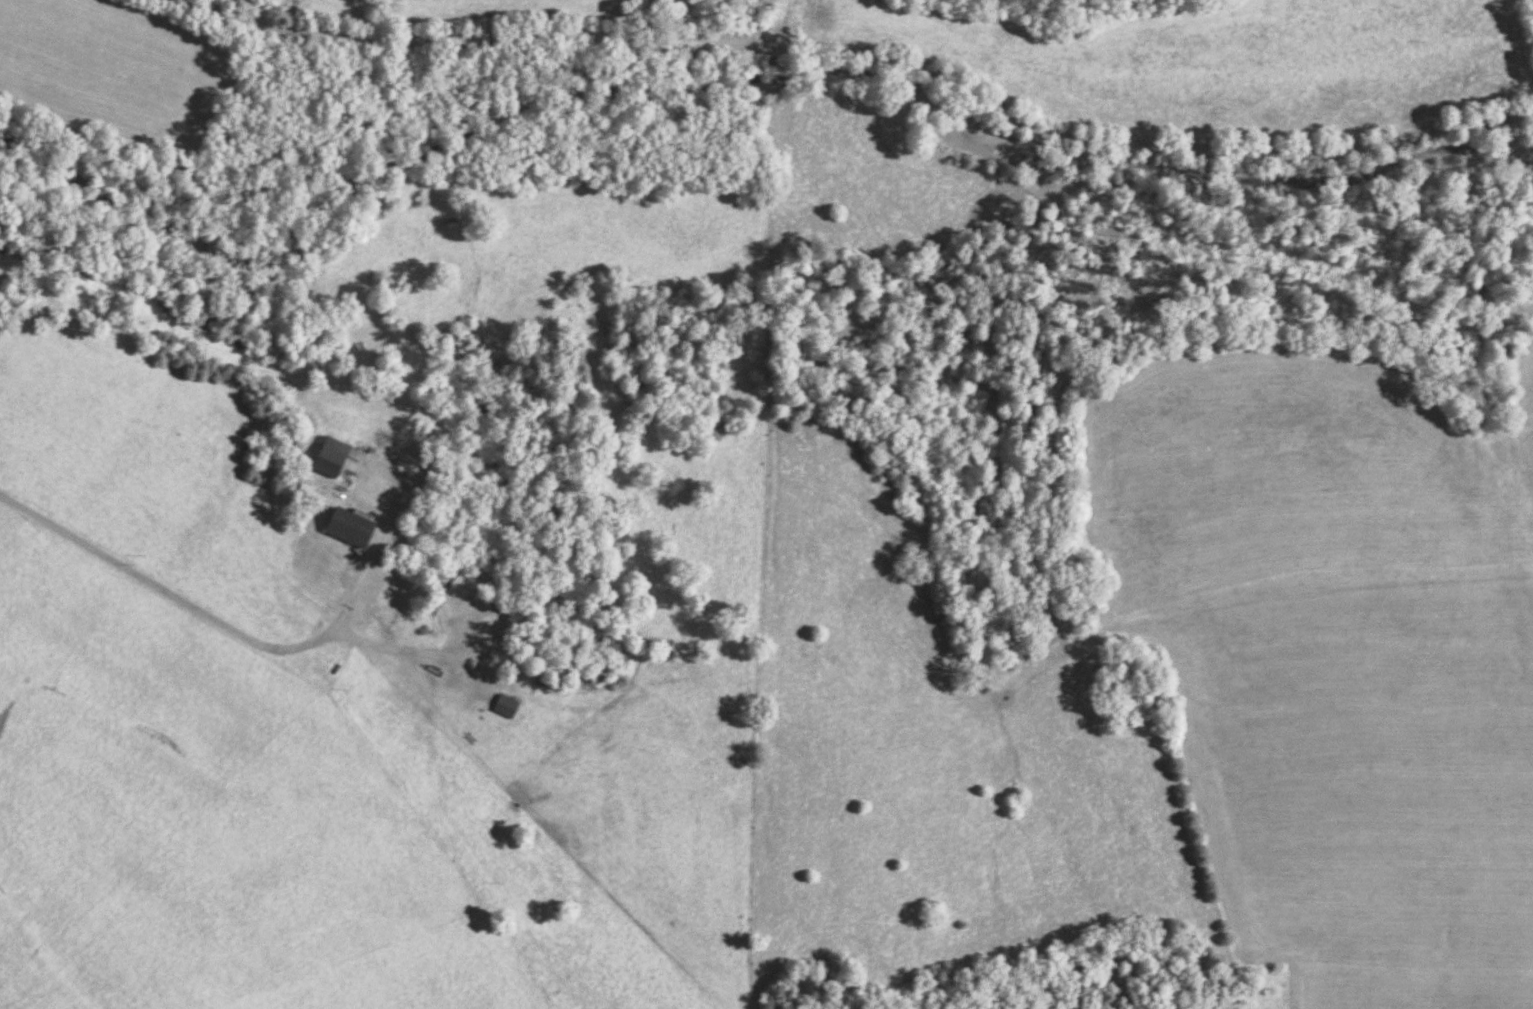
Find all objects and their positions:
road: (861, 56)
building: (334, 459)
building: (355, 529)
building: (358, 597)
road: (175, 599)
road: (324, 921)

